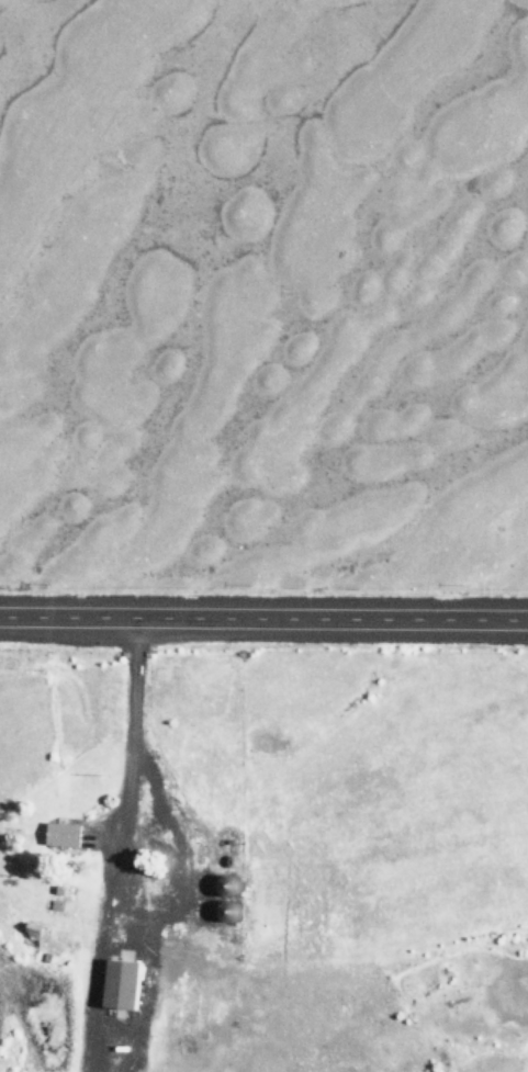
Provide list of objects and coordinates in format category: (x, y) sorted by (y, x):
road: (263, 616)
building: (65, 832)
road: (109, 844)
building: (226, 874)
silo: (226, 874)
building: (231, 909)
silo: (231, 909)
building: (32, 932)
building: (125, 982)

